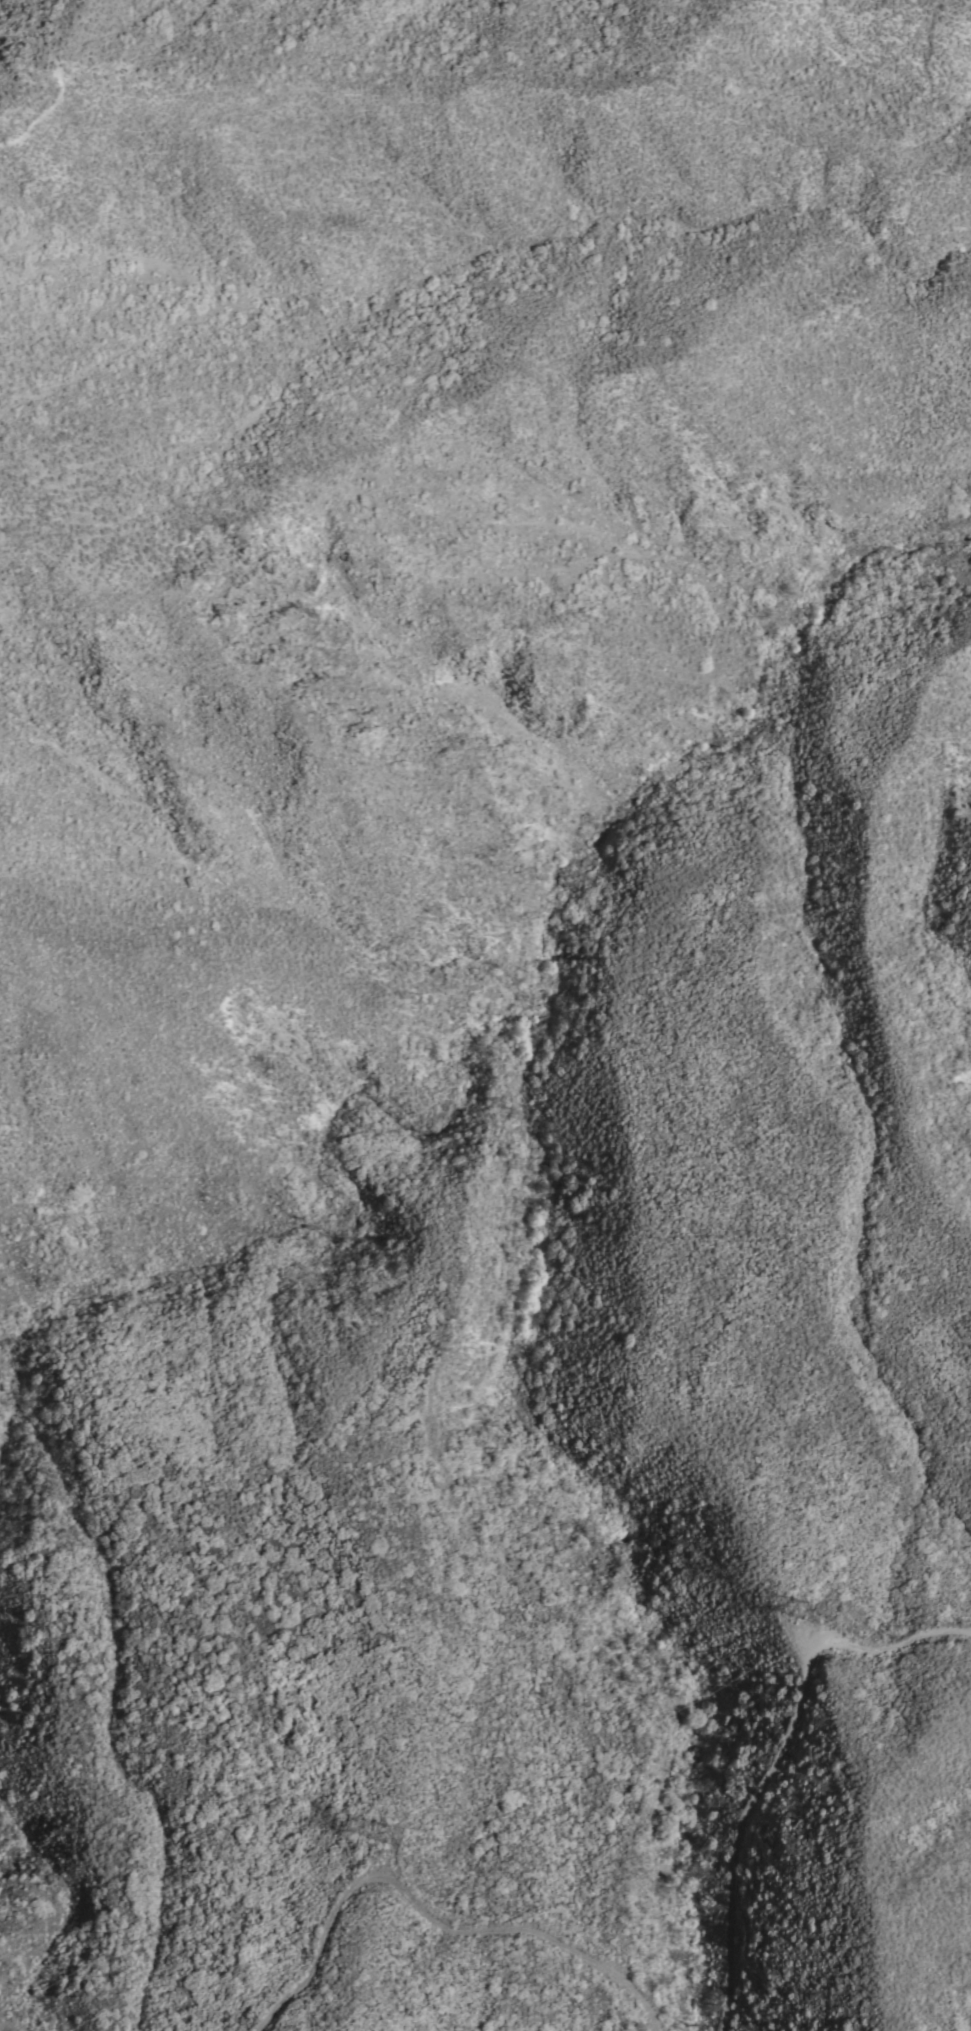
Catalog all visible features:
road: (57, 82)
power tower: (795, 1605)
road: (882, 1647)
power tower: (379, 1834)
road: (734, 1841)
road: (428, 1918)

